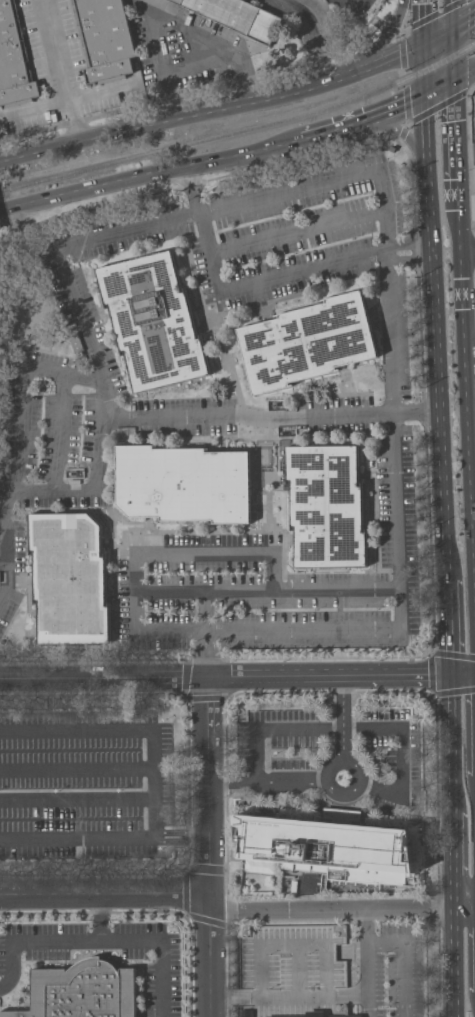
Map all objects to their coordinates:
road: (344, 7)
road: (451, 14)
building: (239, 17)
river: (312, 18)
road: (423, 21)
road: (463, 21)
road: (178, 24)
traffic signals: (452, 29)
road: (438, 35)
road: (386, 38)
building: (104, 39)
traffic signals: (424, 42)
road: (452, 55)
building: (14, 60)
road: (202, 68)
road: (424, 69)
road: (61, 71)
road: (464, 75)
traffic signals: (453, 81)
road: (310, 86)
road: (439, 88)
traffic signals: (425, 96)
road: (70, 99)
road: (356, 122)
railway: (242, 130)
road: (400, 131)
road: (96, 138)
road: (456, 145)
road: (466, 149)
river: (393, 154)
road: (428, 170)
road: (142, 173)
road: (328, 180)
road: (460, 230)
road: (299, 231)
road: (408, 246)
road: (468, 250)
road: (407, 262)
road: (240, 288)
road: (75, 301)
road: (470, 320)
building: (154, 321)
road: (393, 331)
building: (308, 341)
road: (237, 387)
road: (22, 407)
road: (437, 412)
road: (315, 413)
road: (468, 420)
building: (185, 484)
road: (29, 492)
road: (59, 492)
building: (327, 506)
road: (399, 519)
road: (246, 554)
road: (7, 574)
building: (70, 578)
road: (336, 590)
road: (304, 626)
road: (153, 627)
road: (448, 627)
road: (462, 673)
road: (327, 675)
road: (102, 677)
road: (342, 716)
road: (399, 729)
road: (130, 730)
road: (257, 746)
road: (77, 768)
road: (327, 777)
road: (451, 783)
road: (385, 791)
road: (77, 799)
road: (181, 838)
road: (77, 839)
road: (207, 846)
building: (328, 848)
road: (464, 892)
road: (103, 900)
road: (341, 909)
road: (101, 919)
road: (99, 939)
road: (294, 942)
road: (351, 950)
road: (453, 954)
road: (407, 958)
road: (367, 962)
building: (292, 967)
parking garage: (292, 967)
road: (326, 968)
road: (262, 969)
road: (297, 969)
building: (83, 991)
road: (356, 994)
road: (293, 996)
road: (225, 997)
building: (247, 1013)
building: (317, 1014)

